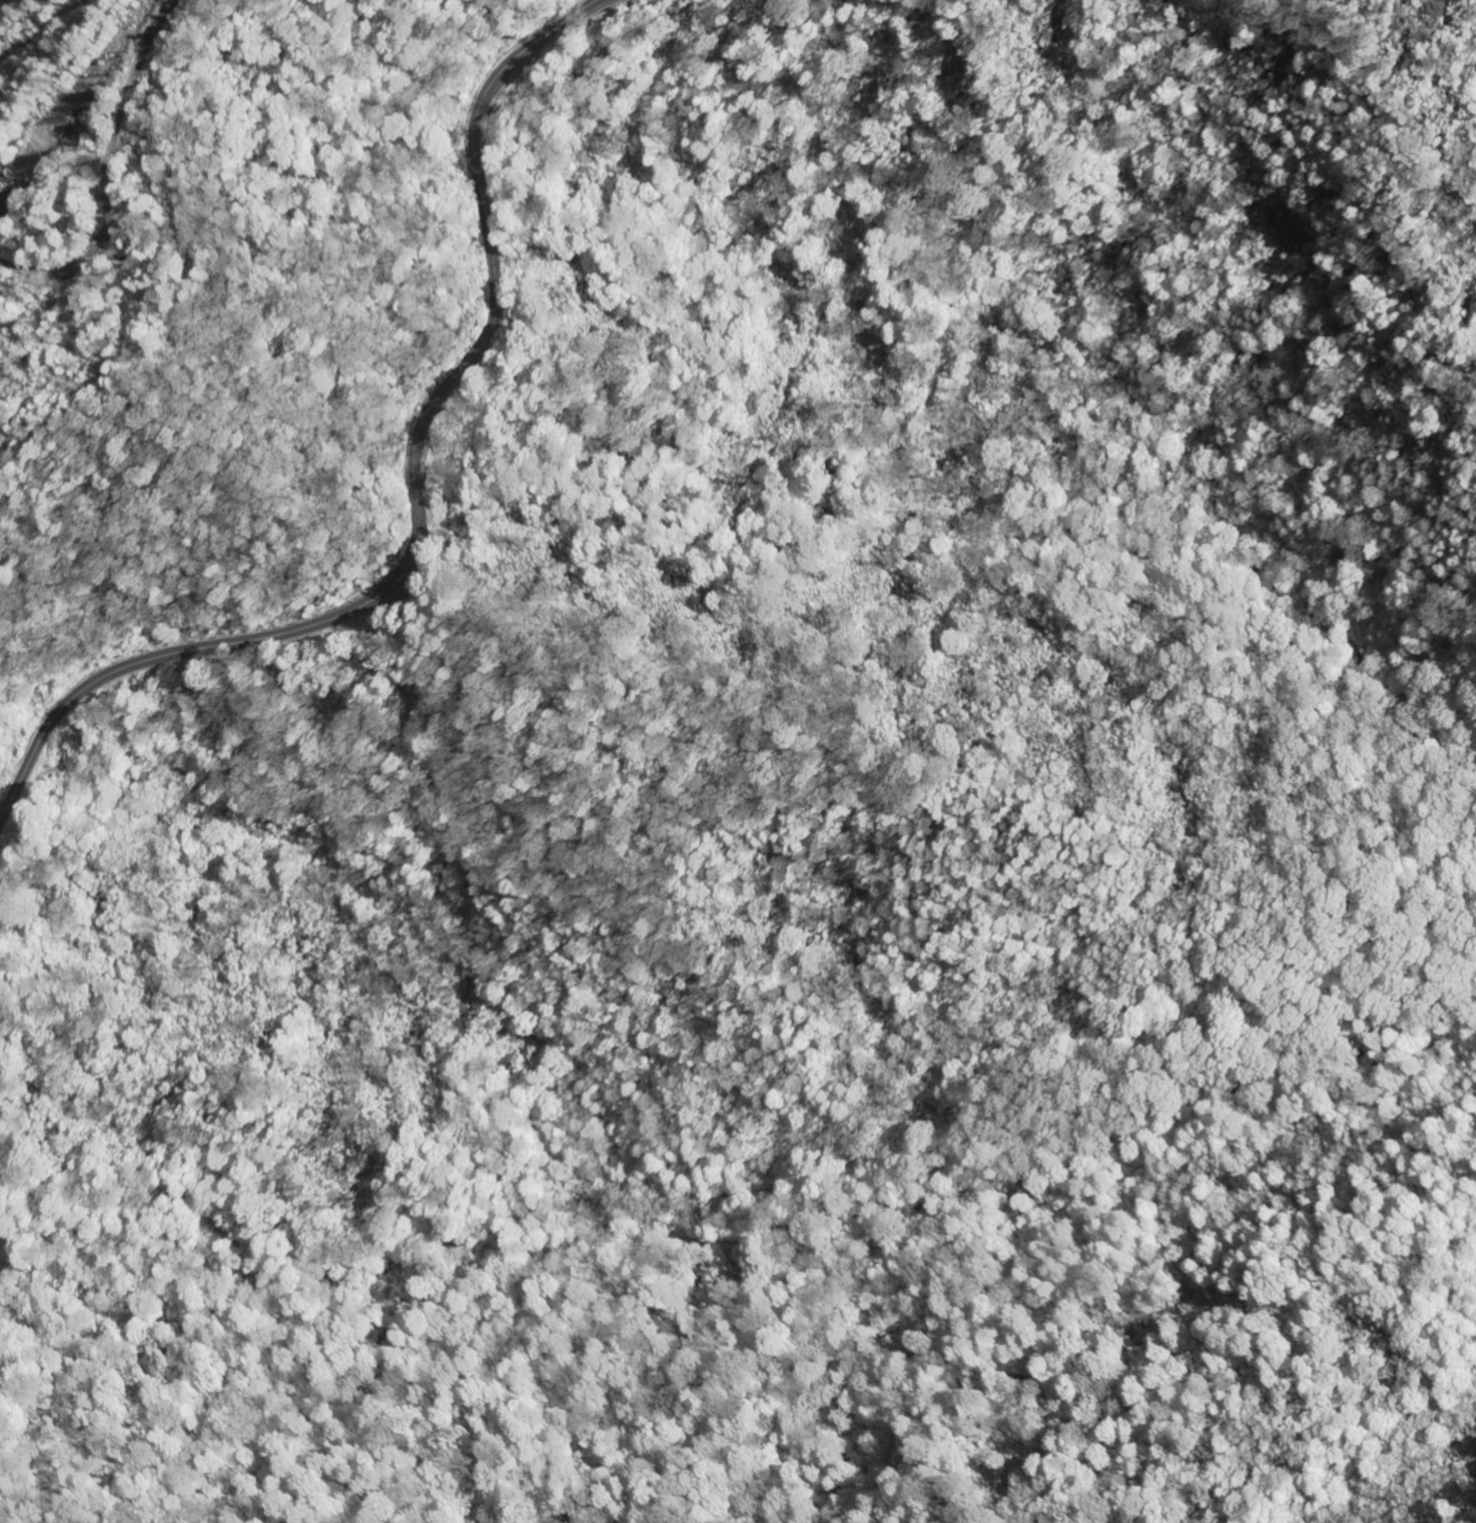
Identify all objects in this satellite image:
road: (103, 175)
road: (415, 500)

